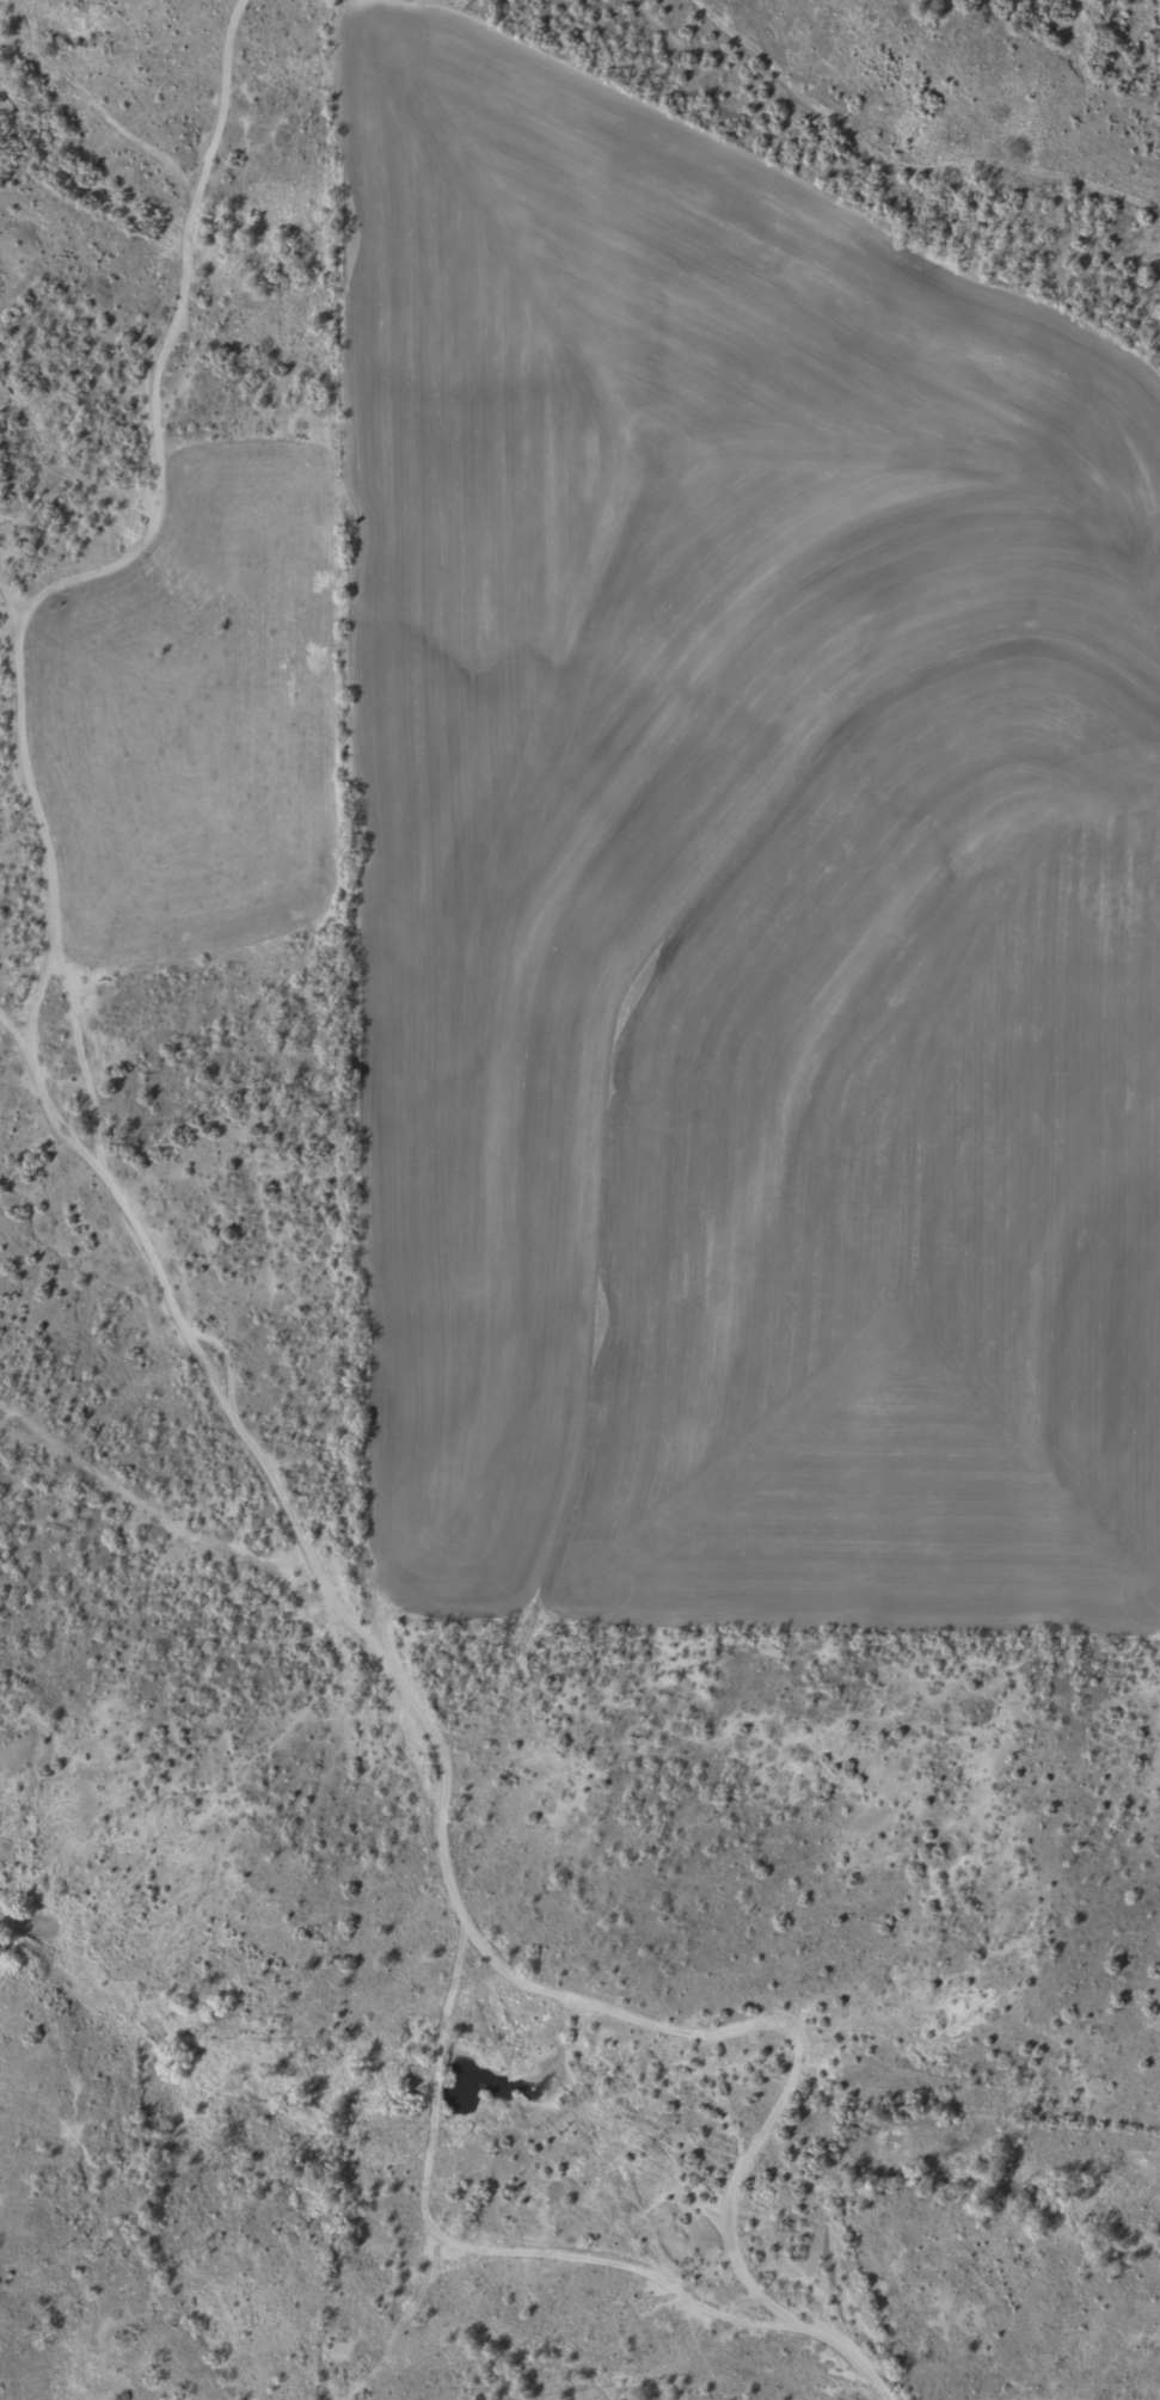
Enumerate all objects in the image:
road: (560, 2105)

